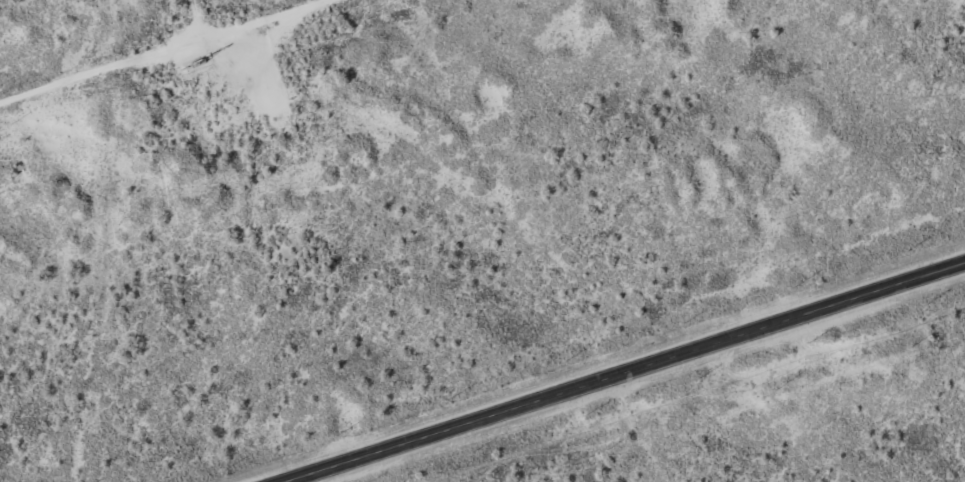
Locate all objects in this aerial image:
road: (188, 28)
road: (213, 54)
road: (621, 369)

